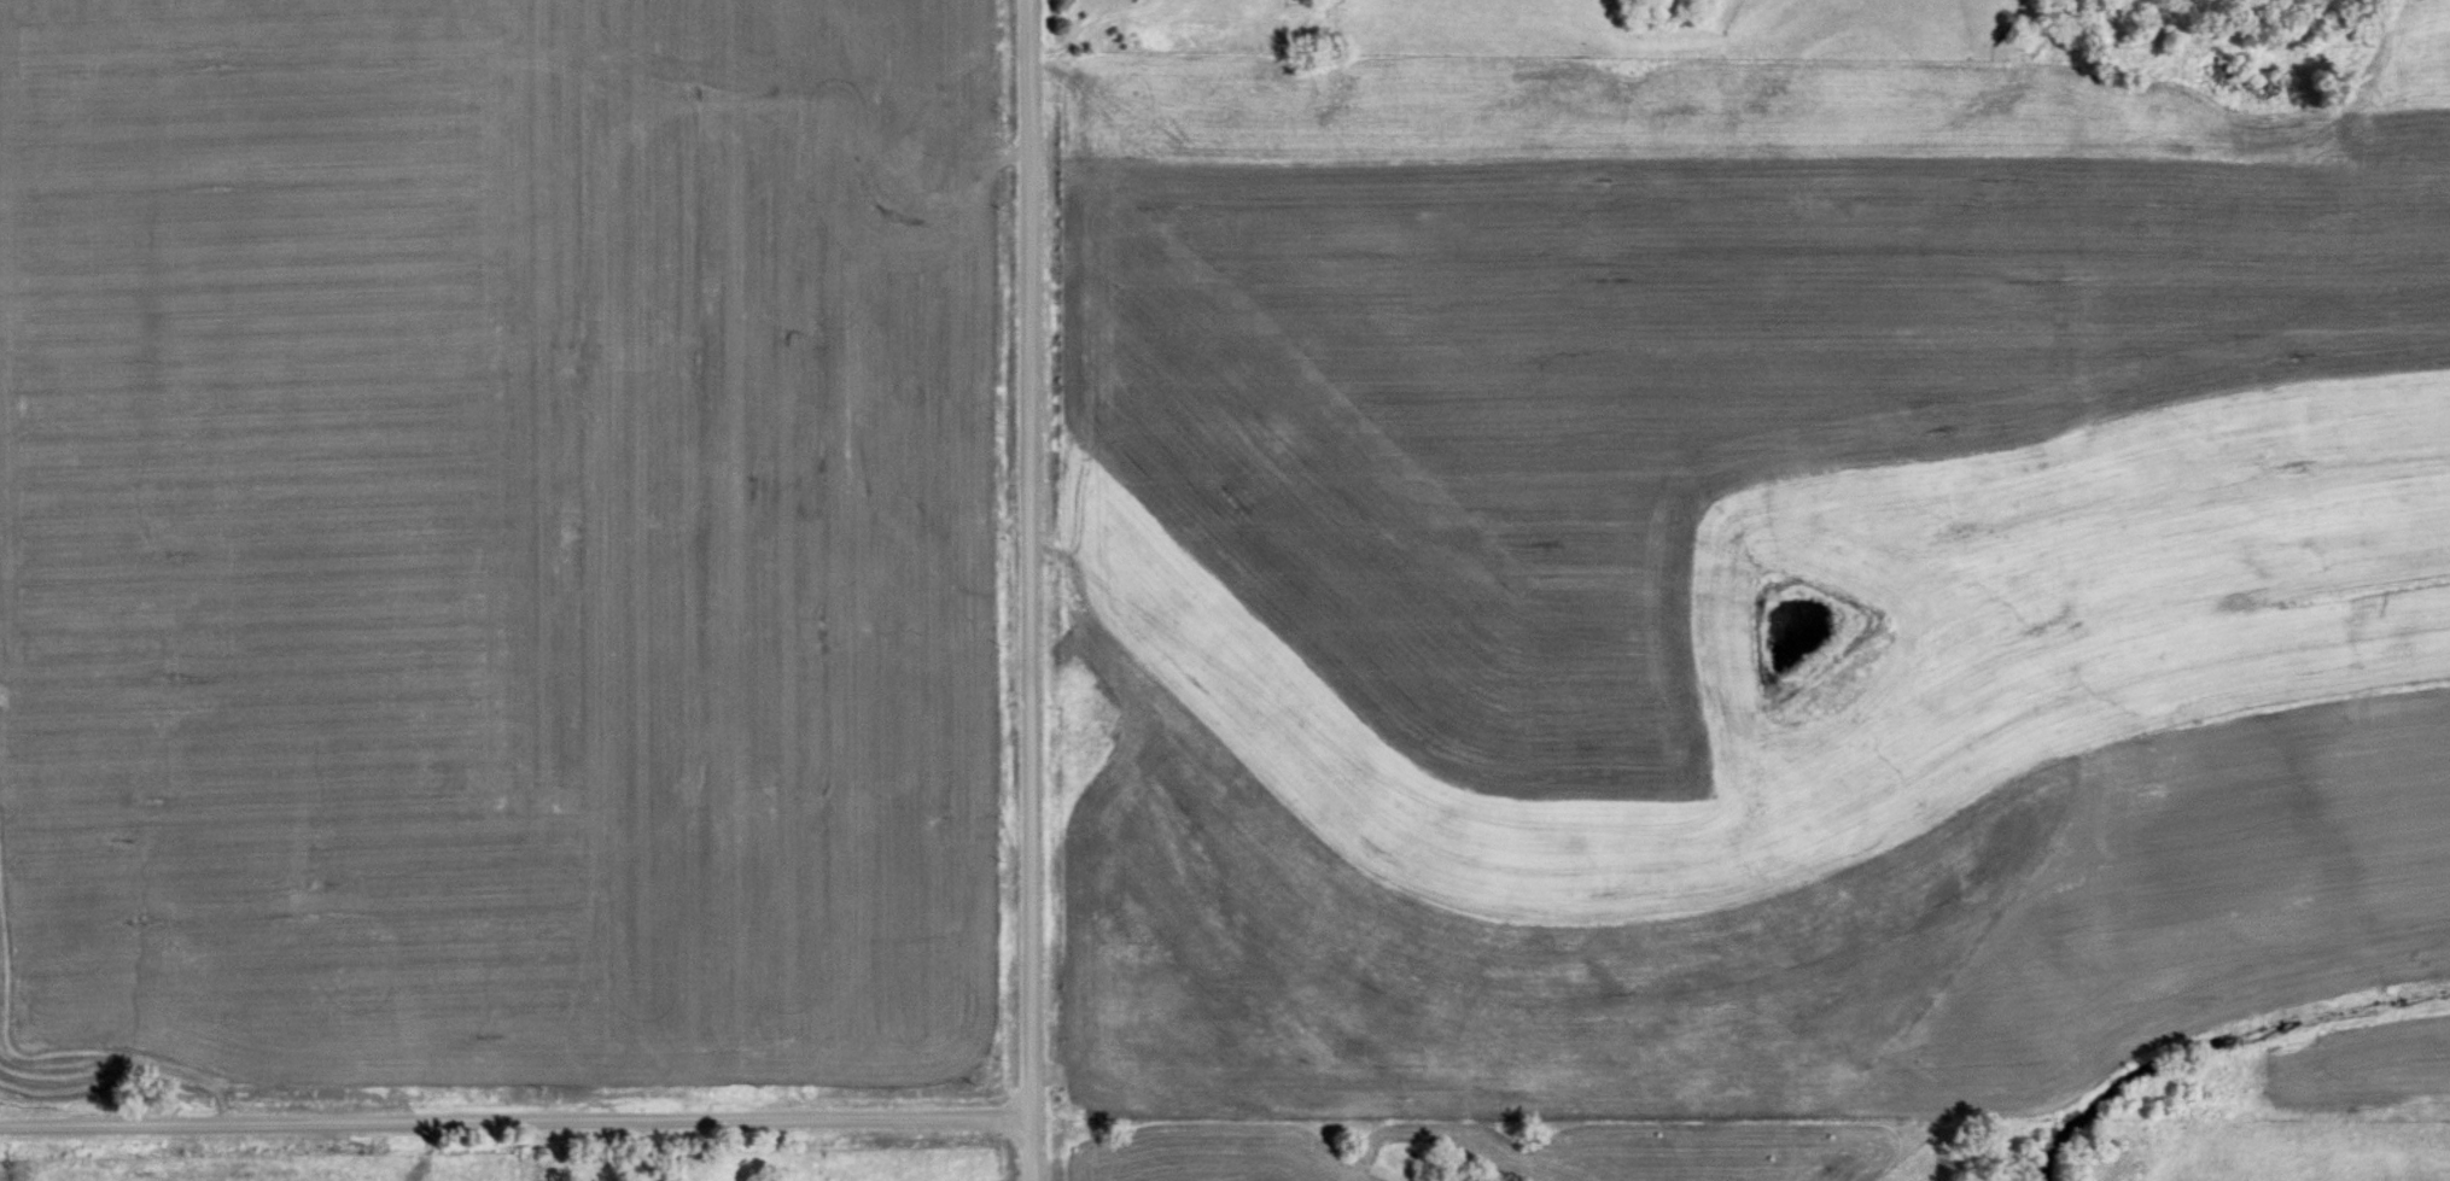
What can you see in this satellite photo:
road: (1031, 590)
road: (514, 1123)

